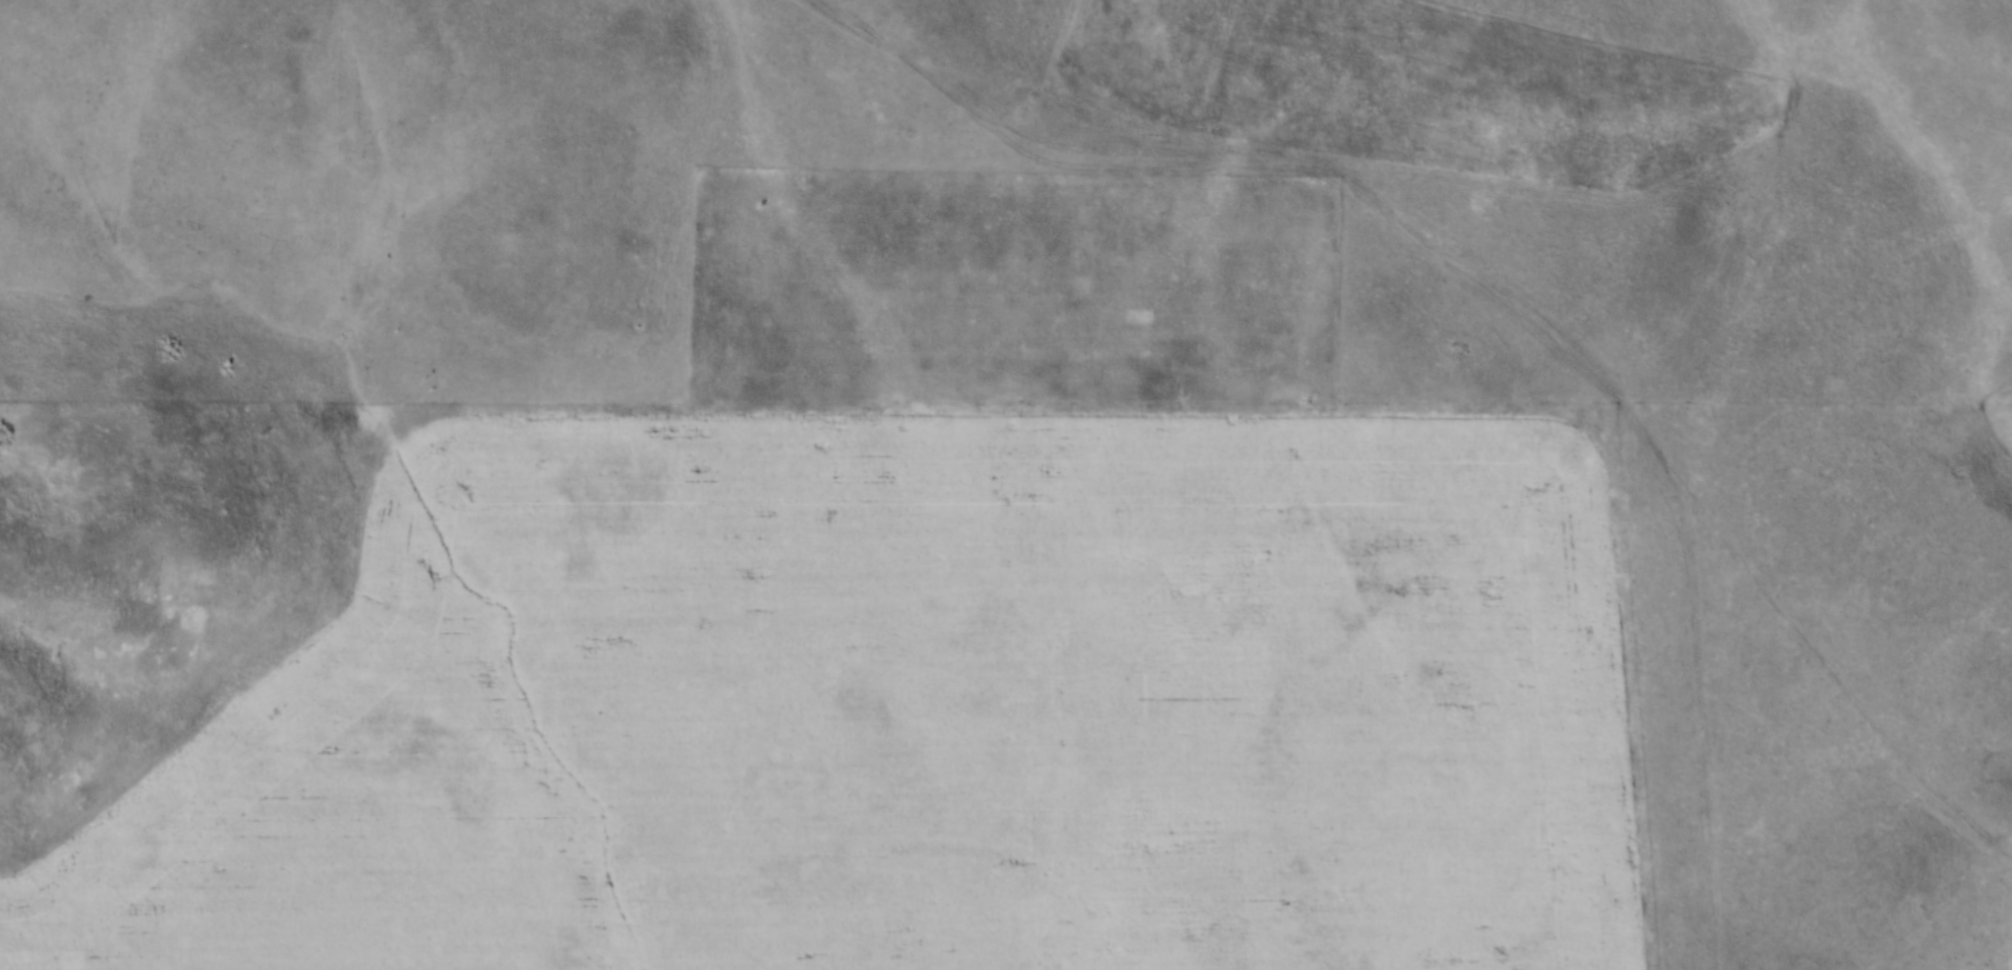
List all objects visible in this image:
road: (1501, 276)

